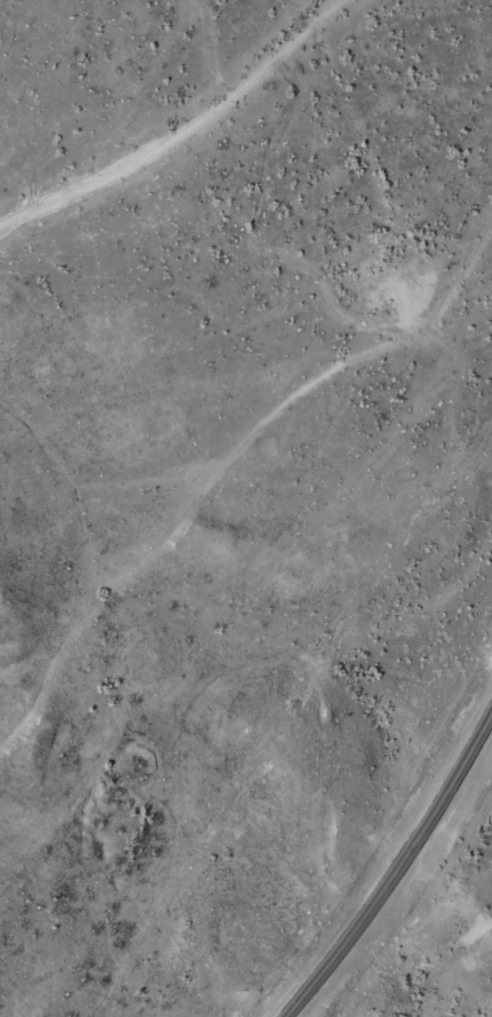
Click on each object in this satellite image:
road: (311, 24)
road: (156, 146)
road: (274, 391)
road: (401, 877)

